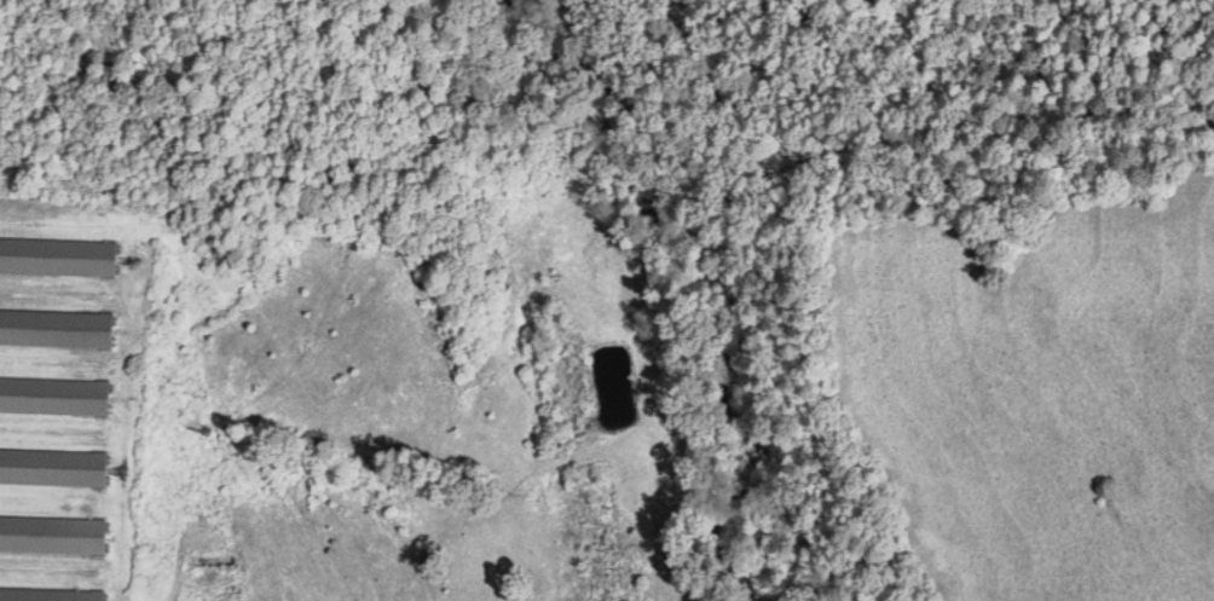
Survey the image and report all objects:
road: (71, 21)
building: (110, 76)

